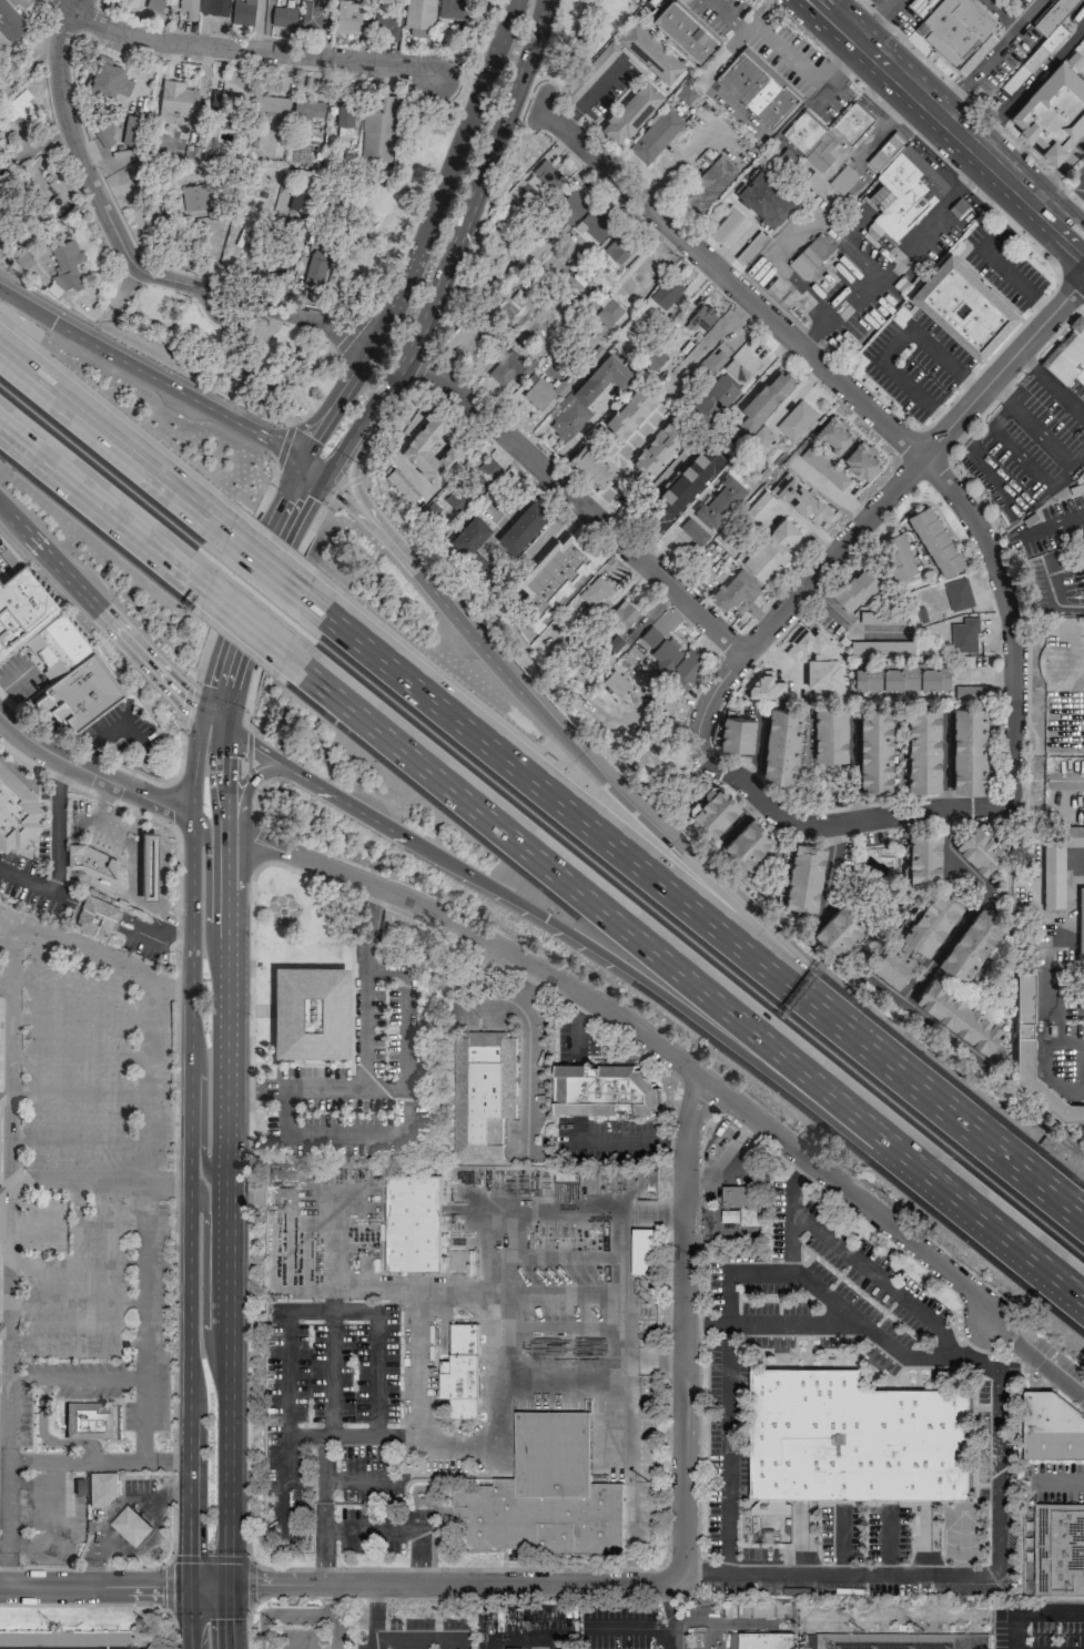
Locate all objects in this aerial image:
building: (656, 2)
building: (150, 4)
building: (213, 7)
building: (188, 8)
building: (450, 9)
building: (242, 12)
building: (310, 12)
road: (1010, 13)
road: (1034, 13)
road: (881, 14)
building: (282, 16)
building: (347, 17)
building: (419, 17)
building: (10, 21)
building: (383, 21)
building: (956, 30)
building: (686, 31)
building: (1041, 43)
road: (242, 50)
building: (650, 53)
road: (985, 67)
building: (591, 71)
road: (810, 74)
building: (109, 78)
building: (758, 88)
road: (591, 94)
building: (686, 94)
building: (271, 103)
road: (971, 103)
building: (16, 105)
building: (224, 108)
building: (307, 108)
building: (1053, 111)
building: (631, 112)
building: (343, 114)
road: (959, 115)
building: (131, 130)
building: (377, 130)
building: (656, 134)
building: (825, 134)
road: (936, 134)
road: (912, 135)
road: (69, 136)
road: (409, 152)
road: (1061, 165)
building: (543, 177)
road: (507, 179)
building: (843, 180)
building: (709, 184)
building: (901, 187)
building: (54, 193)
building: (197, 196)
building: (764, 197)
building: (297, 199)
road: (1073, 202)
road: (941, 204)
building: (573, 205)
building: (726, 224)
building: (596, 225)
road: (424, 237)
road: (729, 245)
building: (751, 247)
road: (450, 248)
building: (618, 251)
building: (811, 256)
building: (65, 264)
building: (313, 267)
road: (1072, 283)
road: (121, 288)
building: (668, 293)
road: (853, 295)
road: (253, 303)
building: (515, 305)
building: (964, 306)
building: (609, 312)
building: (702, 316)
traffic signals: (51, 322)
road: (351, 333)
road: (893, 345)
building: (1068, 355)
road: (320, 357)
building: (655, 358)
building: (713, 362)
road: (278, 363)
road: (419, 368)
building: (508, 368)
road: (149, 376)
road: (1050, 384)
building: (537, 394)
building: (588, 395)
building: (713, 398)
building: (762, 401)
road: (305, 407)
building: (629, 411)
road: (874, 413)
building: (796, 420)
road: (388, 430)
road: (1036, 430)
building: (833, 432)
road: (112, 441)
road: (570, 441)
road: (281, 446)
building: (414, 446)
building: (658, 447)
road: (982, 458)
road: (620, 459)
traffic signals: (300, 460)
building: (861, 460)
building: (590, 466)
building: (823, 467)
road: (310, 469)
traffic signals: (320, 479)
road: (352, 482)
building: (473, 483)
road: (342, 486)
building: (402, 486)
building: (671, 498)
building: (801, 499)
building: (719, 501)
road: (578, 502)
building: (760, 505)
road: (515, 509)
road: (101, 511)
road: (269, 521)
road: (366, 525)
road: (1051, 526)
building: (523, 527)
building: (692, 530)
building: (469, 535)
road: (286, 537)
building: (934, 540)
building: (770, 551)
road: (839, 553)
building: (896, 556)
road: (264, 564)
road: (229, 573)
building: (854, 589)
building: (735, 590)
building: (595, 591)
building: (958, 593)
road: (1052, 597)
road: (829, 605)
building: (21, 608)
road: (99, 609)
road: (275, 611)
building: (622, 614)
building: (882, 618)
road: (243, 623)
building: (964, 635)
building: (53, 645)
building: (660, 648)
road: (220, 649)
building: (818, 662)
building: (689, 665)
building: (900, 676)
building: (615, 682)
building: (766, 686)
building: (80, 690)
building: (972, 691)
building: (671, 699)
road: (183, 702)
traffic signals: (202, 714)
traffic signals: (225, 727)
building: (736, 732)
building: (828, 733)
building: (781, 744)
building: (874, 749)
building: (923, 749)
building: (969, 749)
road: (247, 750)
road: (756, 755)
road: (108, 763)
road: (193, 764)
road: (946, 764)
road: (852, 771)
road: (91, 773)
road: (1066, 781)
road: (252, 802)
road: (173, 806)
building: (16, 808)
building: (715, 810)
road: (911, 816)
road: (240, 825)
road: (232, 834)
road: (666, 836)
building: (748, 842)
road: (615, 845)
building: (980, 848)
road: (55, 852)
building: (923, 856)
building: (93, 862)
building: (1057, 862)
building: (148, 864)
building: (804, 876)
road: (205, 898)
fountain: (284, 910)
building: (95, 916)
building: (1081, 919)
traffic signals: (544, 920)
building: (931, 920)
building: (838, 928)
road: (51, 934)
building: (971, 943)
road: (668, 963)
building: (893, 964)
road: (1048, 969)
road: (637, 978)
building: (310, 1012)
building: (959, 1014)
building: (1024, 1024)
road: (401, 1029)
road: (645, 1038)
road: (363, 1055)
road: (529, 1057)
building: (605, 1091)
building: (483, 1093)
building: (0, 1099)
road: (201, 1107)
road: (190, 1114)
road: (224, 1121)
road: (347, 1133)
road: (629, 1140)
road: (1005, 1158)
road: (173, 1181)
road: (116, 1182)
road: (242, 1187)
building: (738, 1195)
building: (742, 1217)
building: (404, 1240)
road: (789, 1240)
building: (644, 1252)
road: (868, 1270)
road: (1070, 1280)
road: (146, 1283)
road: (619, 1286)
road: (817, 1289)
road: (203, 1290)
road: (13, 1299)
road: (355, 1312)
road: (247, 1319)
road: (796, 1322)
road: (686, 1329)
building: (0, 1331)
road: (1039, 1360)
road: (416, 1372)
road: (567, 1372)
building: (462, 1373)
road: (331, 1374)
road: (71, 1378)
building: (92, 1421)
road: (729, 1425)
building: (1052, 1428)
road: (293, 1436)
road: (396, 1436)
building: (857, 1439)
parking lot: (28, 1463)
road: (41, 1463)
road: (631, 1477)
road: (328, 1480)
road: (1061, 1483)
building: (79, 1486)
building: (101, 1486)
building: (544, 1495)
road: (163, 1498)
road: (191, 1499)
building: (131, 1525)
gas station: (131, 1525)
road: (132, 1525)
road: (368, 1529)
building: (1058, 1549)
road: (101, 1555)
fountain: (159, 1555)
road: (209, 1559)
road: (971, 1575)
road: (249, 1584)
traffic signals: (191, 1585)
traffic signals: (225, 1585)
road: (338, 1585)
road: (169, 1586)
road: (375, 1591)
road: (290, 1598)
road: (330, 1600)
road: (103, 1605)
road: (1033, 1614)
road: (297, 1615)
road: (671, 1615)
road: (190, 1617)
road: (375, 1623)
road: (262, 1630)
road: (630, 1630)
building: (80, 1638)
road: (417, 1640)
building: (761, 1641)
power substation: (895, 1642)

